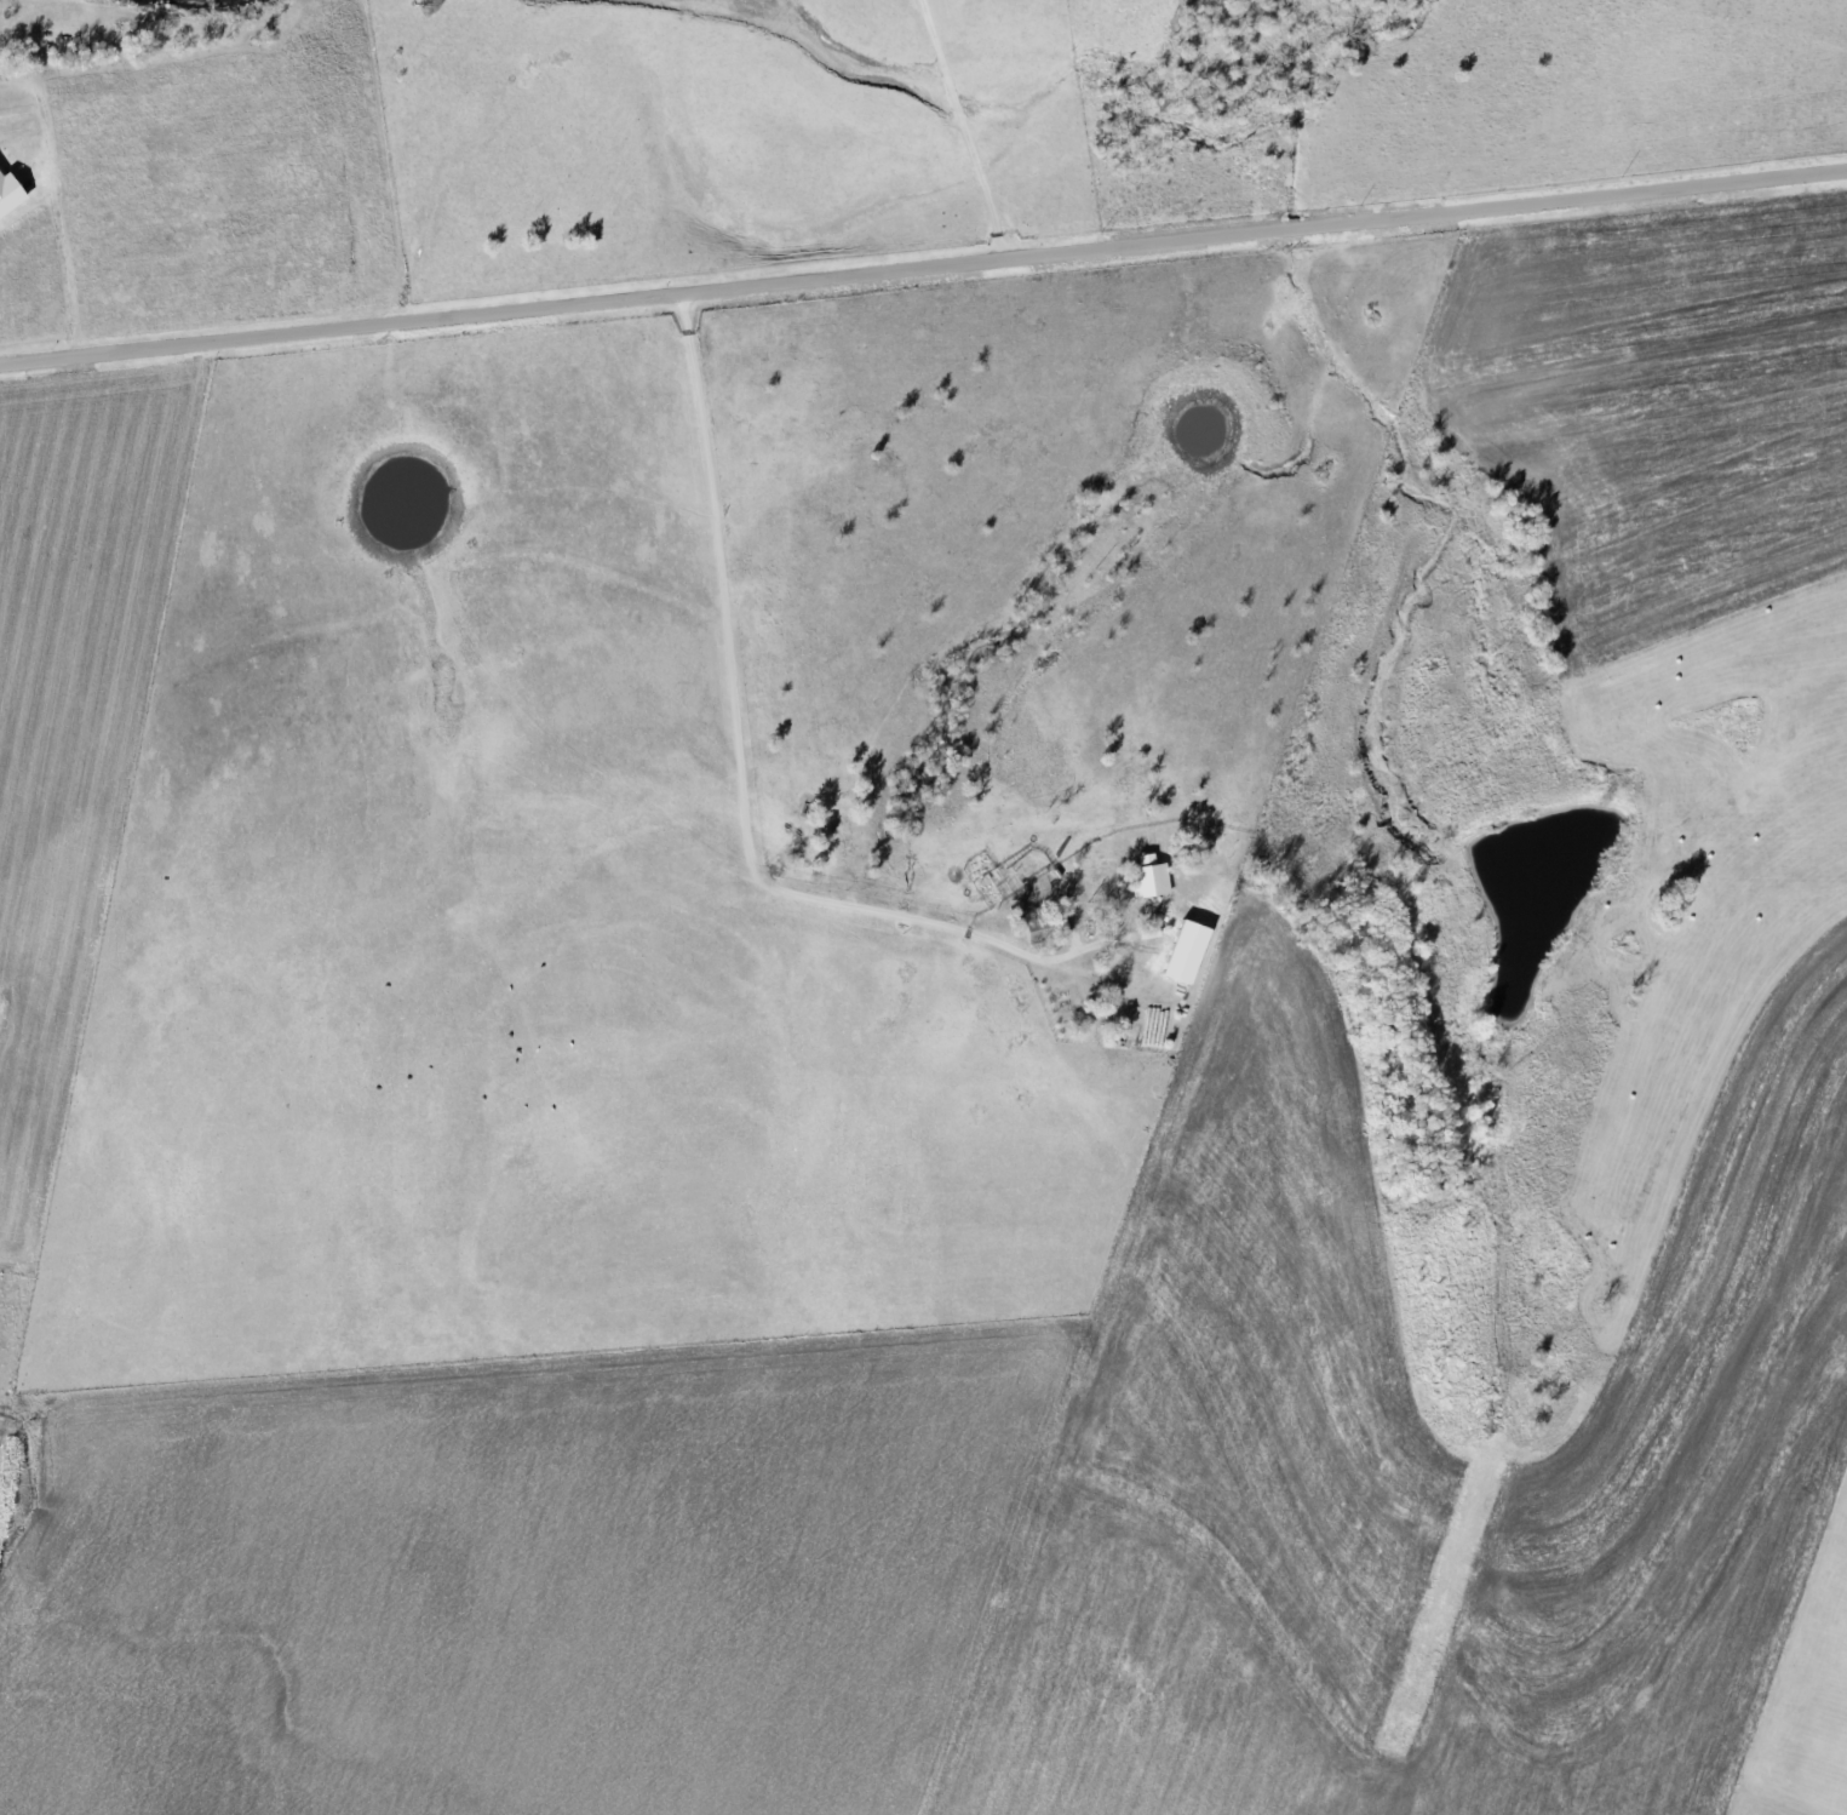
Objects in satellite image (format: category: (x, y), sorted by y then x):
road: (963, 128)
road: (923, 268)
road: (755, 716)
building: (1180, 951)

